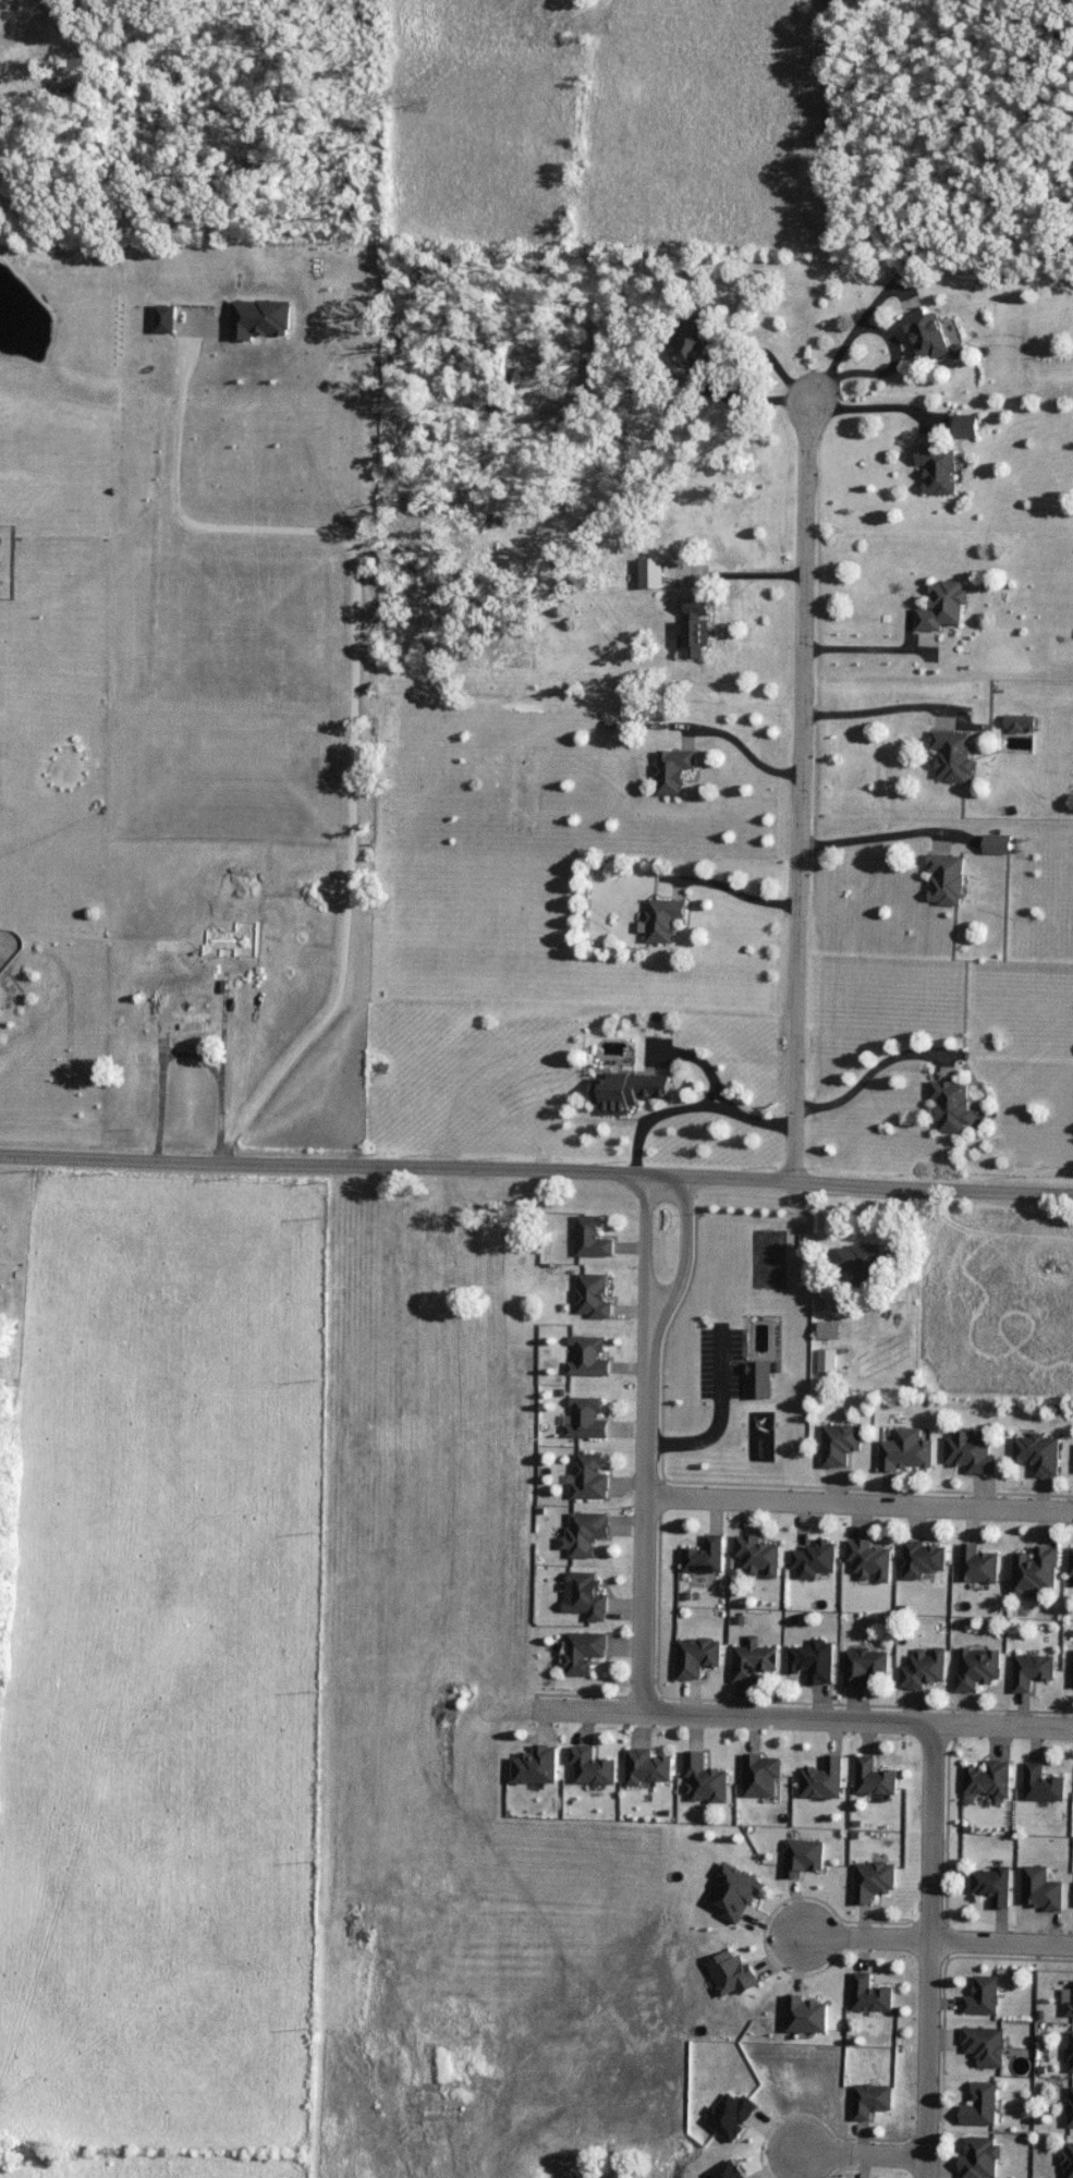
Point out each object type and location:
building: (927, 334)
building: (696, 337)
road: (850, 337)
road: (739, 404)
road: (880, 412)
building: (966, 426)
building: (939, 470)
road: (745, 579)
building: (943, 607)
building: (697, 629)
road: (886, 653)
road: (353, 688)
road: (890, 713)
road: (743, 753)
building: (954, 755)
building: (674, 771)
road: (802, 791)
road: (890, 839)
building: (1000, 844)
building: (948, 879)
road: (730, 893)
building: (666, 920)
building: (216, 948)
building: (181, 1007)
road: (224, 1055)
road: (198, 1058)
road: (877, 1073)
building: (630, 1092)
road: (163, 1095)
building: (952, 1105)
road: (697, 1109)
road: (536, 1170)
building: (443, 1229)
building: (594, 1238)
road: (646, 1260)
building: (768, 1260)
building: (859, 1263)
road: (682, 1265)
building: (595, 1295)
building: (589, 1356)
building: (828, 1361)
building: (760, 1380)
building: (588, 1419)
building: (841, 1445)
building: (907, 1452)
building: (972, 1453)
building: (1038, 1455)
building: (593, 1476)
road: (858, 1505)
road: (643, 1526)
building: (588, 1534)
building: (707, 1556)
building: (760, 1557)
building: (816, 1559)
building: (925, 1559)
building: (871, 1560)
building: (1072, 1561)
building: (980, 1566)
building: (1038, 1571)
building: (587, 1596)
building: (585, 1653)
building: (698, 1657)
building: (754, 1660)
building: (816, 1662)
building: (866, 1666)
building: (926, 1668)
building: (979, 1668)
building: (1033, 1670)
road: (801, 1718)
building: (538, 1766)
building: (594, 1767)
building: (649, 1767)
building: (763, 1776)
building: (875, 1778)
building: (989, 1779)
building: (706, 1780)
building: (1042, 1785)
road: (932, 1835)
building: (874, 1881)
building: (992, 1885)
building: (1041, 1889)
road: (926, 1943)
building: (870, 1995)
building: (983, 1997)
building: (1070, 2004)
building: (985, 2045)
building: (1072, 2053)
road: (927, 2060)
building: (870, 2101)
building: (981, 2106)
building: (1071, 2108)
road: (851, 2151)
building: (981, 2158)
building: (1069, 2161)

